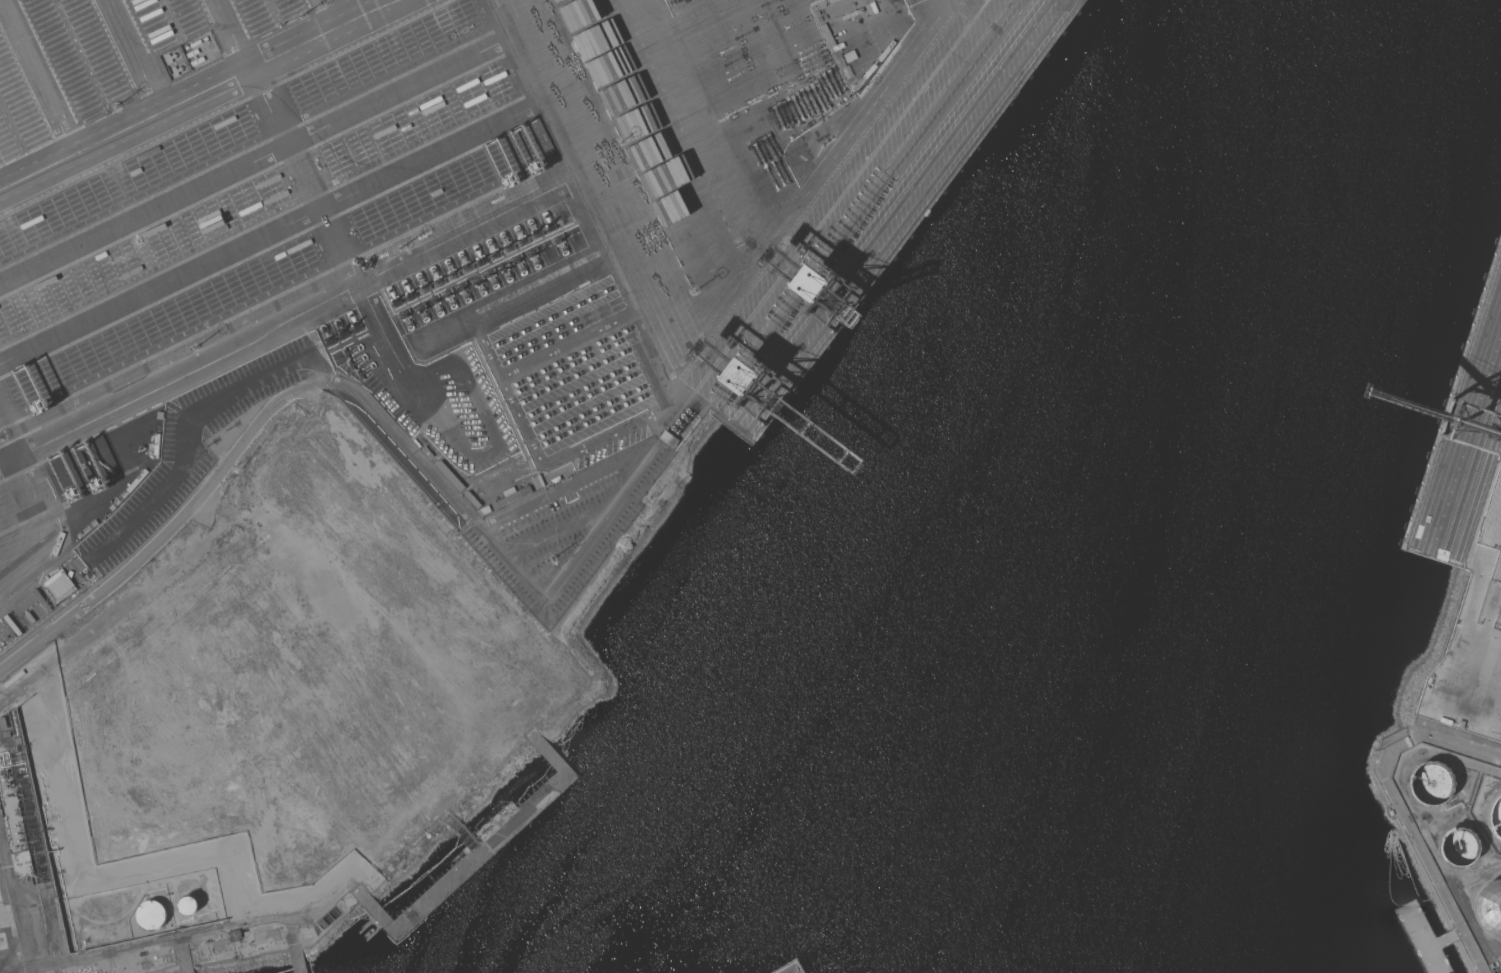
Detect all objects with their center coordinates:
road: (199, 95)
road: (259, 156)
road: (300, 179)
road: (272, 223)
road: (374, 274)
road: (6, 443)
road: (28, 522)
road: (165, 531)
road: (14, 533)
building: (60, 585)
building: (518, 634)
building: (1451, 682)
building: (3, 723)
building: (7, 734)
road: (1496, 758)
building: (1432, 785)
storage tank: (1432, 785)
building: (1495, 819)
storage tank: (1495, 819)
building: (415, 841)
building: (1458, 849)
storage tank: (1458, 849)
building: (188, 904)
storage tank: (188, 904)
building: (1489, 909)
storage tank: (1489, 909)
storage tank: (151, 914)
building: (150, 915)
building: (235, 934)

